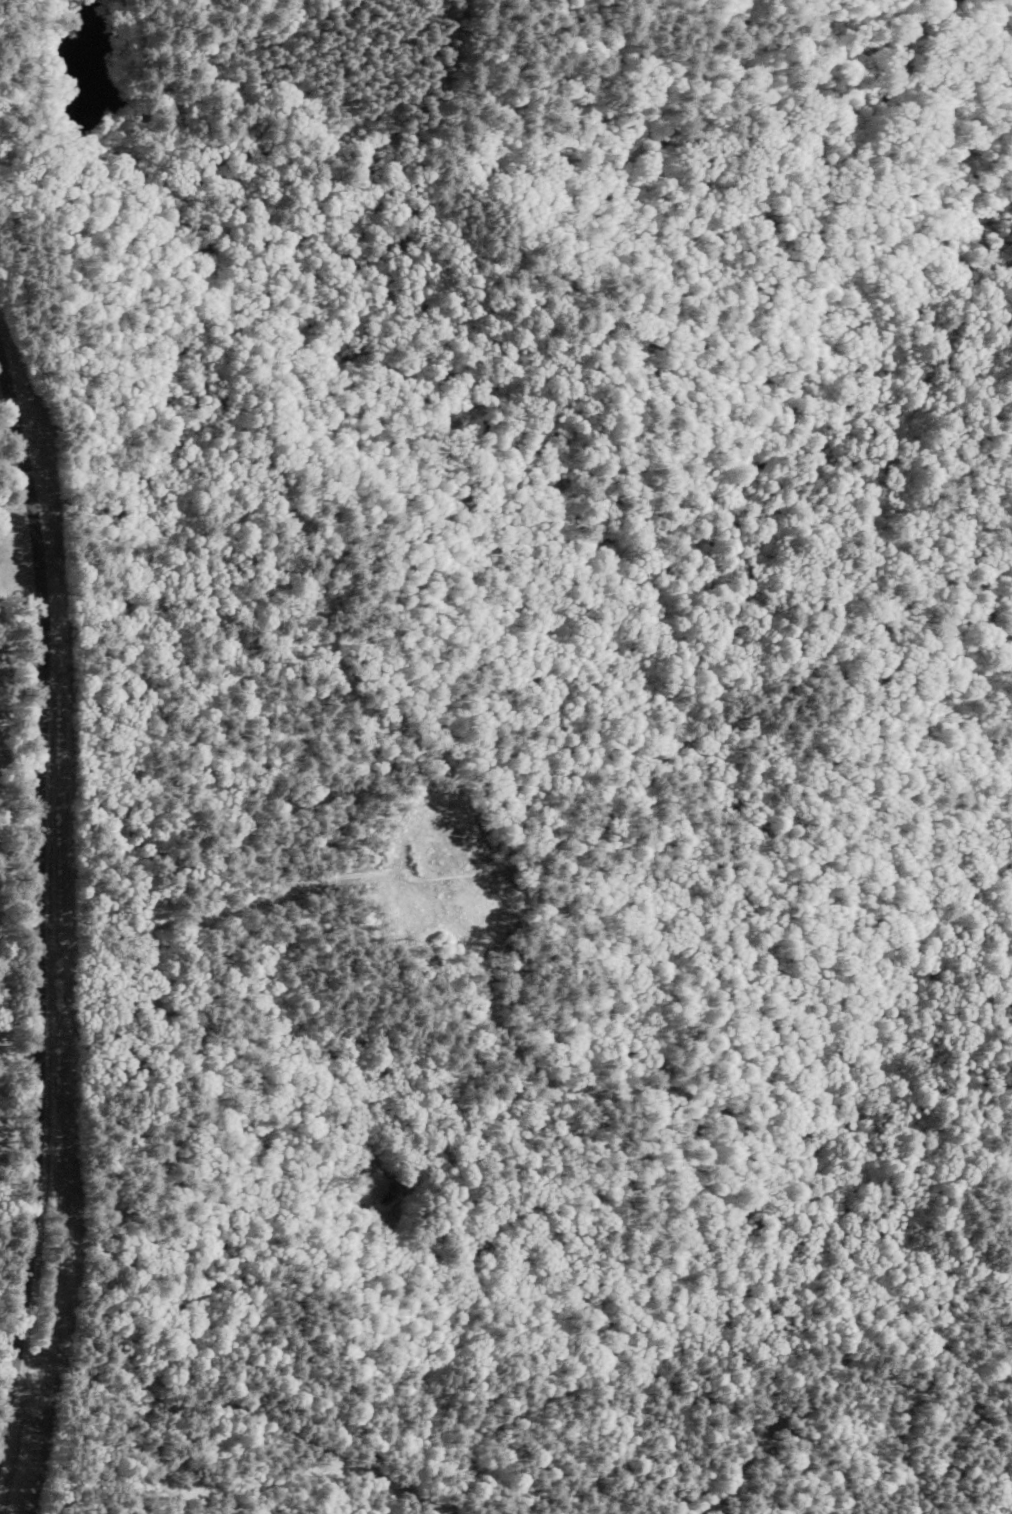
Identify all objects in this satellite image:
road: (10, 951)

